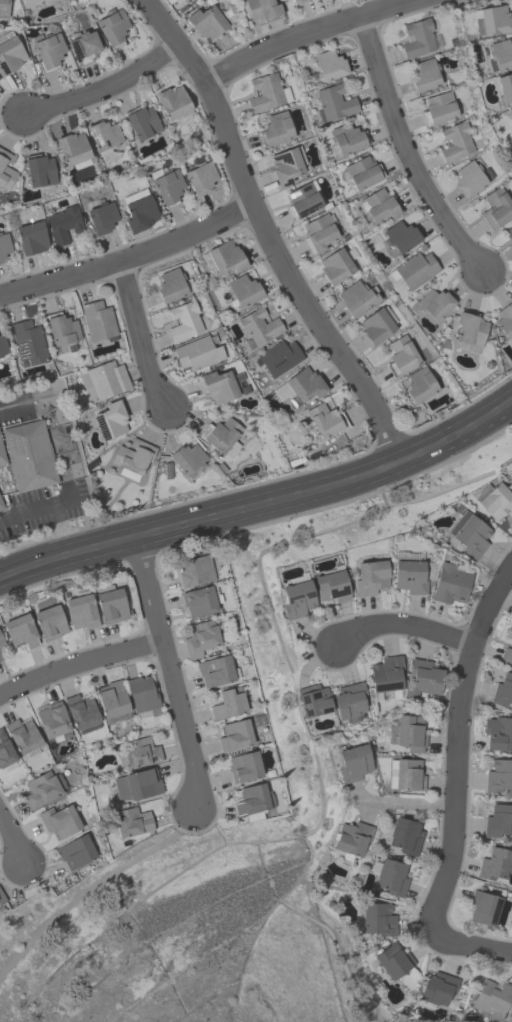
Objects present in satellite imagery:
building: (293, 0)
building: (299, 0)
building: (31, 2)
building: (3, 8)
building: (262, 9)
building: (491, 20)
building: (209, 21)
building: (112, 26)
road: (301, 33)
building: (417, 38)
building: (82, 46)
building: (48, 51)
building: (9, 53)
building: (499, 55)
building: (329, 64)
building: (424, 75)
building: (505, 86)
road: (104, 88)
building: (266, 92)
building: (172, 101)
building: (334, 101)
building: (439, 107)
building: (511, 110)
building: (511, 112)
building: (511, 119)
building: (142, 121)
building: (511, 123)
building: (276, 128)
building: (511, 128)
building: (103, 136)
building: (346, 138)
building: (455, 142)
road: (404, 148)
building: (73, 149)
building: (287, 164)
building: (6, 169)
building: (39, 170)
building: (362, 172)
building: (471, 176)
building: (200, 177)
building: (168, 186)
building: (302, 200)
building: (377, 206)
building: (496, 208)
building: (138, 210)
building: (102, 217)
building: (62, 223)
building: (319, 232)
building: (509, 232)
road: (265, 234)
building: (400, 236)
building: (30, 237)
building: (4, 245)
road: (128, 256)
building: (226, 257)
building: (336, 264)
building: (413, 269)
building: (170, 284)
building: (243, 290)
building: (356, 297)
building: (434, 303)
building: (98, 320)
building: (505, 320)
building: (183, 321)
building: (259, 326)
building: (376, 326)
building: (62, 330)
building: (469, 330)
road: (138, 334)
building: (28, 342)
building: (2, 344)
building: (197, 352)
building: (401, 356)
building: (278, 357)
building: (107, 378)
building: (221, 385)
building: (304, 385)
building: (419, 385)
road: (10, 409)
building: (110, 420)
building: (325, 420)
building: (221, 436)
building: (28, 455)
building: (1, 456)
building: (132, 458)
building: (187, 458)
building: (508, 467)
road: (330, 485)
building: (494, 500)
building: (1, 506)
road: (33, 510)
building: (469, 533)
road: (66, 555)
building: (194, 570)
building: (408, 572)
building: (370, 577)
building: (450, 584)
building: (331, 586)
building: (200, 599)
building: (297, 599)
building: (110, 604)
building: (81, 612)
building: (49, 622)
road: (401, 624)
building: (20, 631)
building: (200, 638)
building: (1, 641)
building: (511, 641)
building: (506, 655)
building: (1, 656)
road: (79, 662)
building: (214, 671)
building: (386, 674)
road: (171, 676)
building: (423, 678)
building: (503, 690)
building: (142, 697)
building: (349, 700)
building: (112, 701)
building: (313, 702)
building: (228, 703)
building: (81, 713)
building: (53, 722)
building: (410, 732)
building: (498, 733)
building: (234, 735)
building: (23, 737)
road: (457, 737)
building: (139, 753)
building: (6, 754)
building: (351, 761)
building: (244, 766)
building: (405, 774)
building: (499, 775)
building: (136, 784)
building: (44, 788)
building: (253, 801)
road: (406, 803)
building: (498, 820)
building: (59, 821)
building: (130, 822)
building: (405, 836)
road: (12, 840)
building: (351, 840)
building: (76, 851)
building: (495, 864)
building: (391, 877)
road: (88, 887)
building: (2, 897)
building: (483, 907)
building: (377, 919)
road: (464, 943)
building: (393, 960)
building: (437, 988)
building: (492, 998)

